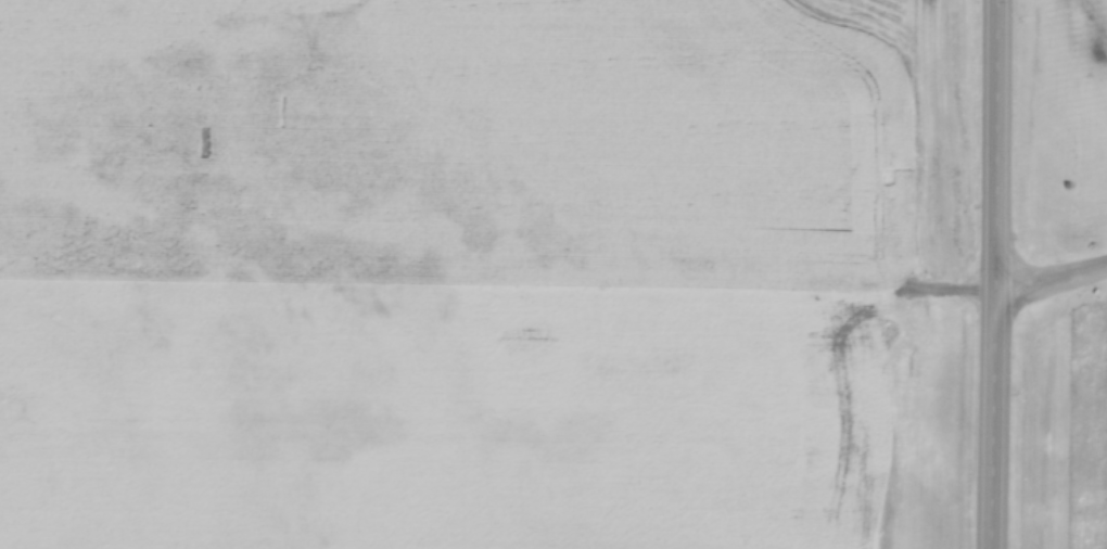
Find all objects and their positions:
road: (1002, 274)

